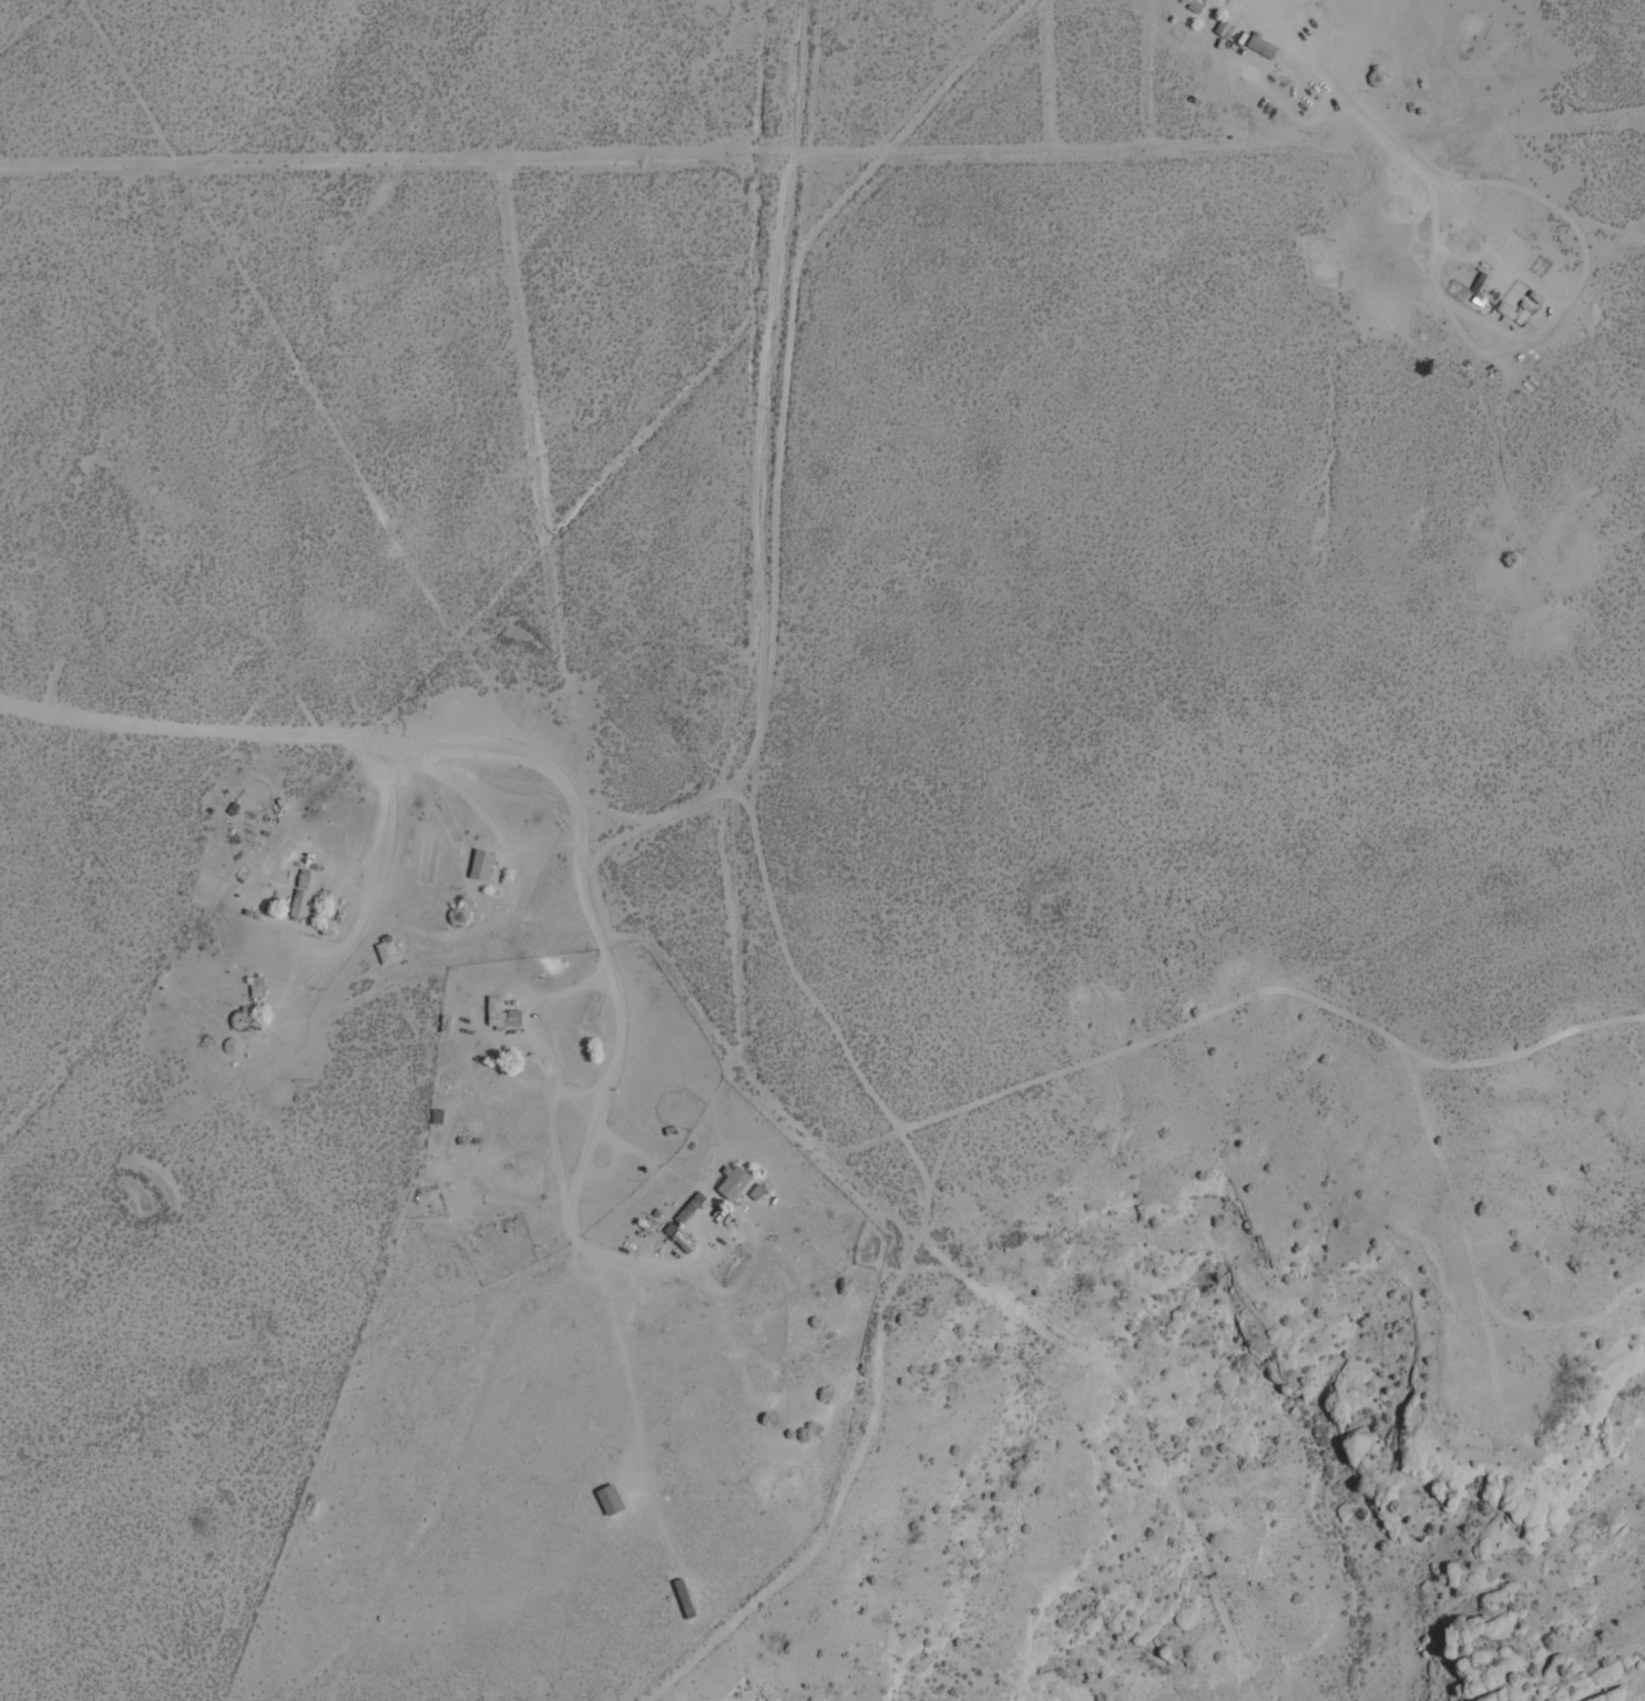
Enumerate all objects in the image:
building: (1222, 30)
building: (1258, 45)
building: (1376, 75)
road: (1089, 139)
road: (770, 312)
road: (763, 488)
road: (560, 681)
road: (678, 807)
building: (478, 865)
building: (297, 904)
building: (384, 950)
building: (254, 987)
building: (499, 1015)
building: (242, 1019)
building: (227, 1046)
building: (730, 1184)
building: (686, 1209)
building: (676, 1240)
road: (878, 1398)
building: (607, 1500)
building: (682, 1599)

